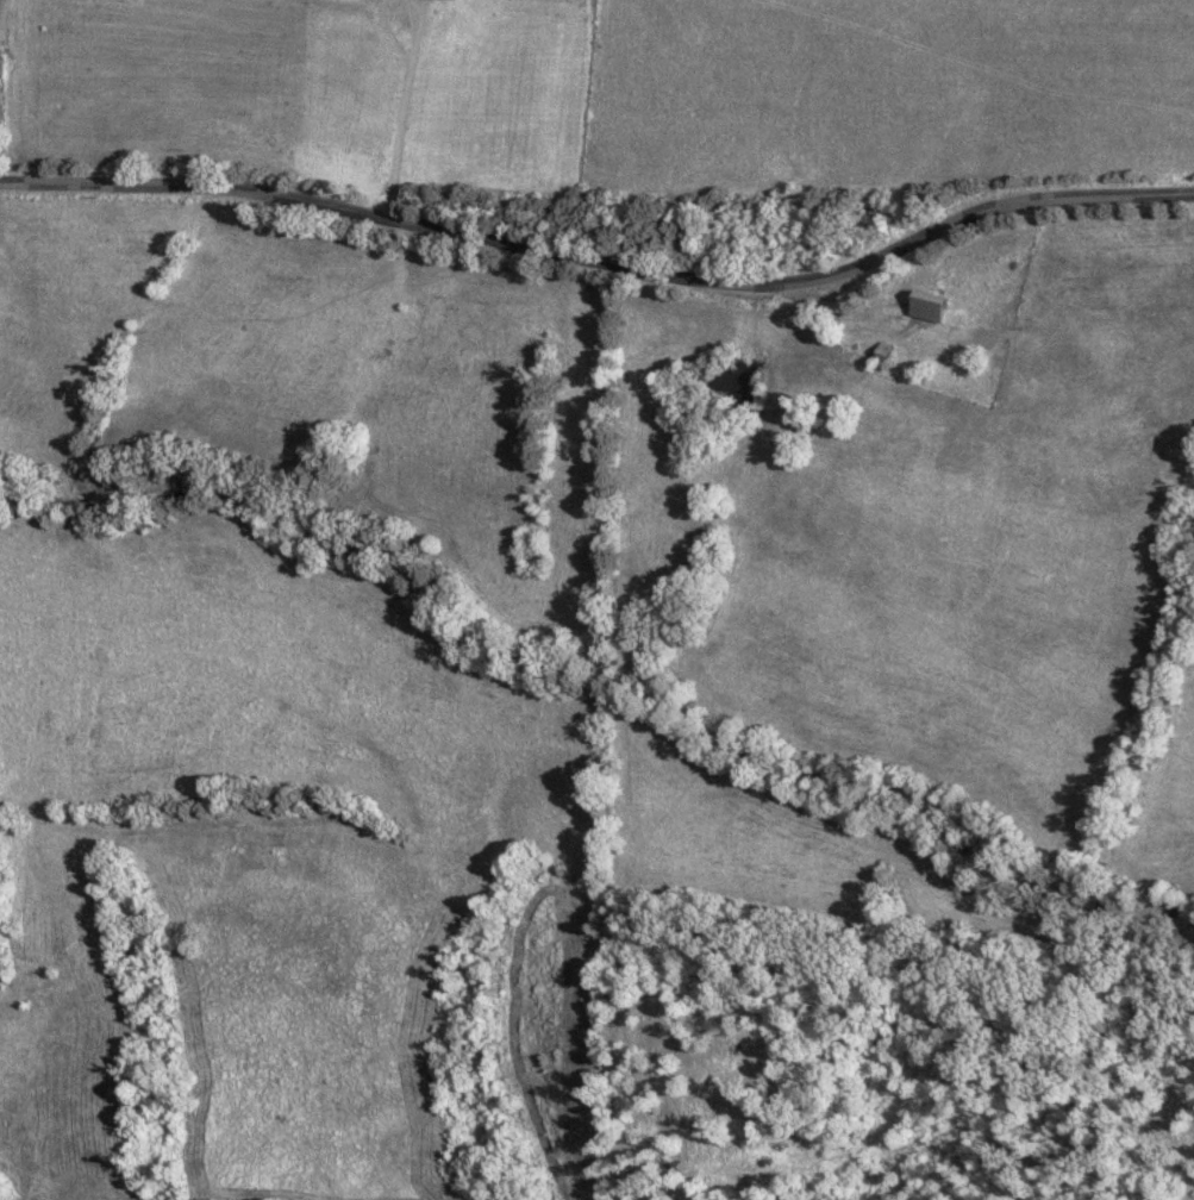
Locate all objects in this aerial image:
road: (423, 31)
road: (399, 32)
road: (406, 137)
road: (601, 264)
building: (930, 306)
building: (884, 352)

